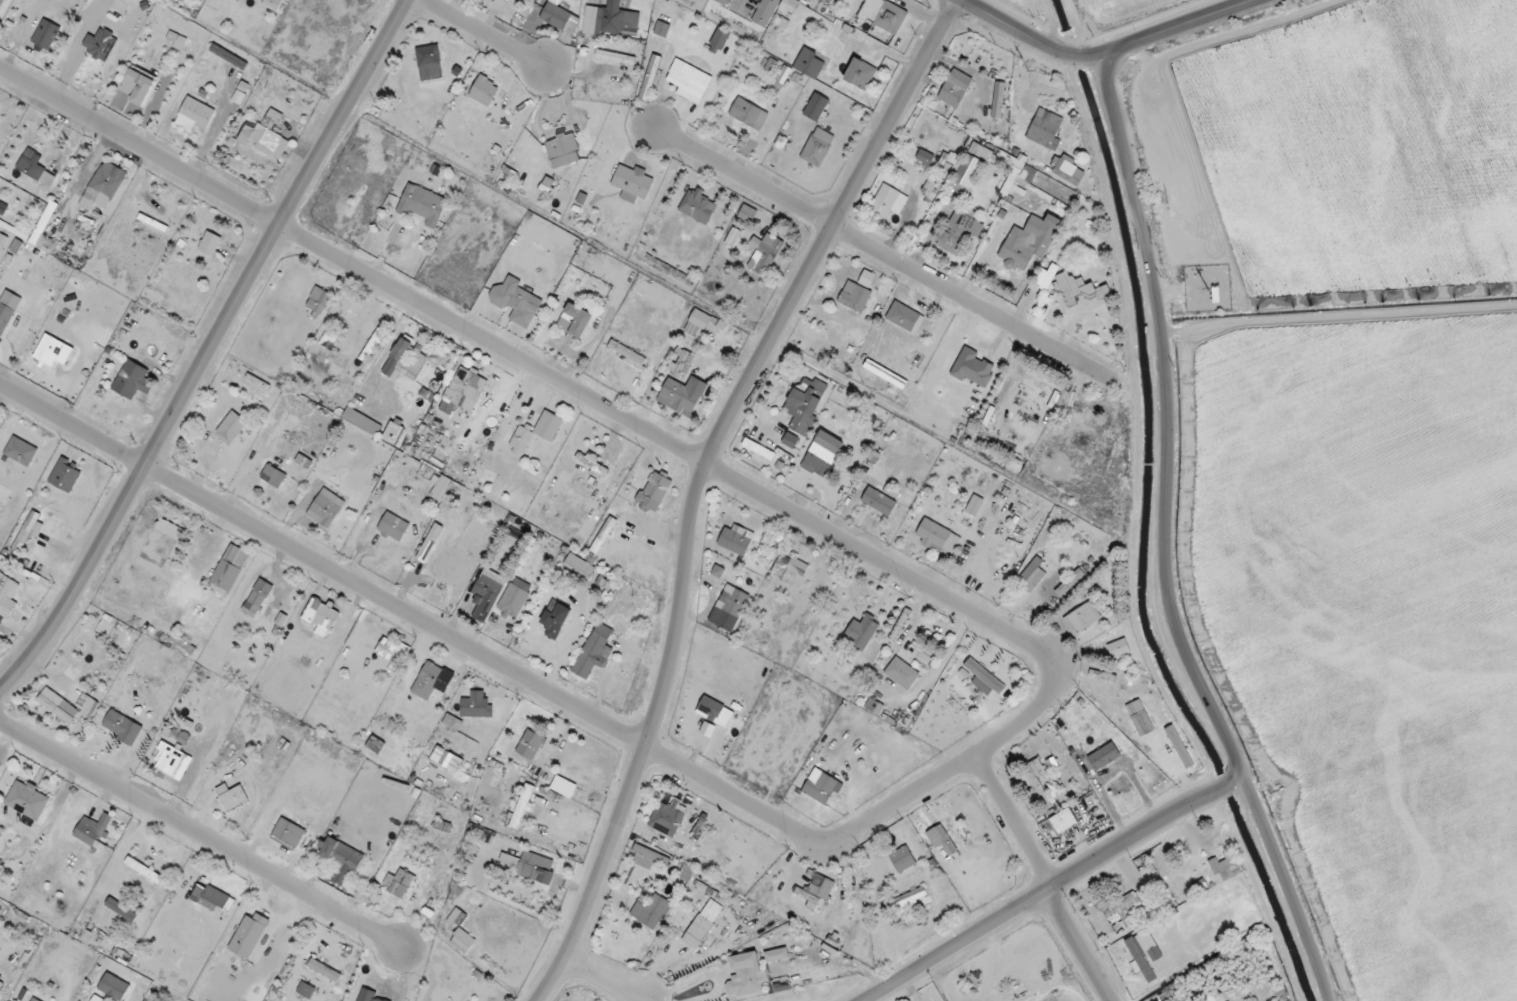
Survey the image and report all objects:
building: (810, 0)
building: (724, 2)
building: (272, 4)
building: (789, 5)
building: (766, 12)
building: (883, 15)
building: (559, 18)
building: (610, 20)
road: (1177, 26)
building: (661, 28)
road: (1018, 31)
road: (484, 33)
building: (46, 34)
building: (720, 38)
building: (177, 40)
building: (100, 44)
building: (229, 56)
building: (615, 57)
road: (1096, 60)
road: (1083, 61)
building: (429, 62)
building: (809, 63)
building: (860, 73)
building: (650, 77)
building: (689, 81)
building: (138, 86)
building: (955, 88)
building: (484, 91)
building: (998, 100)
building: (816, 106)
building: (748, 113)
building: (195, 115)
building: (272, 118)
building: (1045, 129)
building: (264, 141)
building: (817, 146)
building: (563, 150)
building: (925, 157)
building: (971, 164)
building: (35, 168)
building: (1067, 169)
building: (1017, 173)
building: (632, 182)
building: (105, 183)
building: (928, 188)
building: (888, 201)
building: (422, 204)
building: (698, 206)
building: (747, 213)
building: (957, 233)
building: (2, 240)
building: (1029, 241)
building: (210, 243)
building: (16, 246)
road: (874, 247)
building: (764, 253)
building: (1047, 276)
building: (1077, 289)
building: (855, 296)
building: (318, 301)
building: (516, 301)
building: (7, 309)
building: (903, 316)
building: (575, 320)
building: (697, 322)
building: (328, 340)
building: (372, 345)
building: (53, 350)
road: (209, 350)
building: (627, 352)
road: (520, 359)
building: (405, 361)
building: (680, 364)
building: (973, 368)
building: (885, 374)
road: (1103, 375)
building: (132, 380)
building: (364, 390)
building: (464, 391)
building: (682, 394)
building: (803, 409)
building: (362, 421)
building: (231, 427)
building: (536, 432)
building: (392, 433)
building: (21, 451)
building: (822, 454)
building: (593, 463)
building: (65, 475)
building: (273, 476)
road: (699, 482)
building: (654, 492)
building: (879, 501)
building: (974, 505)
building: (325, 507)
building: (393, 526)
building: (169, 529)
building: (28, 531)
building: (603, 535)
building: (936, 535)
building: (736, 539)
building: (429, 542)
road: (1167, 542)
building: (579, 566)
building: (230, 567)
building: (788, 568)
building: (718, 571)
building: (1032, 575)
building: (1070, 583)
building: (487, 594)
building: (7, 595)
building: (257, 598)
building: (513, 600)
building: (733, 601)
building: (320, 616)
building: (1082, 617)
building: (555, 618)
building: (861, 631)
building: (392, 649)
building: (1119, 649)
building: (594, 651)
building: (902, 673)
building: (985, 679)
building: (432, 680)
road: (549, 694)
building: (58, 705)
building: (86, 705)
building: (476, 705)
building: (874, 706)
building: (714, 711)
building: (1140, 717)
building: (122, 726)
building: (530, 744)
building: (375, 745)
building: (1180, 748)
building: (447, 759)
building: (172, 761)
building: (1035, 780)
road: (1236, 786)
building: (820, 787)
road: (1222, 794)
building: (232, 796)
building: (27, 799)
building: (523, 805)
building: (668, 817)
building: (1063, 820)
road: (1014, 824)
building: (92, 829)
building: (289, 832)
road: (200, 836)
building: (941, 839)
building: (341, 858)
building: (650, 858)
building: (509, 859)
building: (902, 859)
building: (536, 867)
building: (1225, 867)
building: (143, 869)
building: (685, 872)
building: (398, 883)
building: (816, 890)
road: (1044, 897)
building: (215, 901)
building: (909, 902)
building: (1124, 907)
building: (121, 909)
building: (651, 911)
road: (1292, 913)
road: (1279, 920)
building: (703, 923)
building: (248, 935)
building: (463, 941)
road: (1080, 947)
building: (1144, 952)
building: (776, 955)
road: (1209, 962)
building: (324, 970)
building: (746, 976)
road: (605, 979)
building: (1, 984)
building: (114, 987)
building: (306, 990)
building: (368, 995)
building: (34, 999)
building: (1192, 1000)

